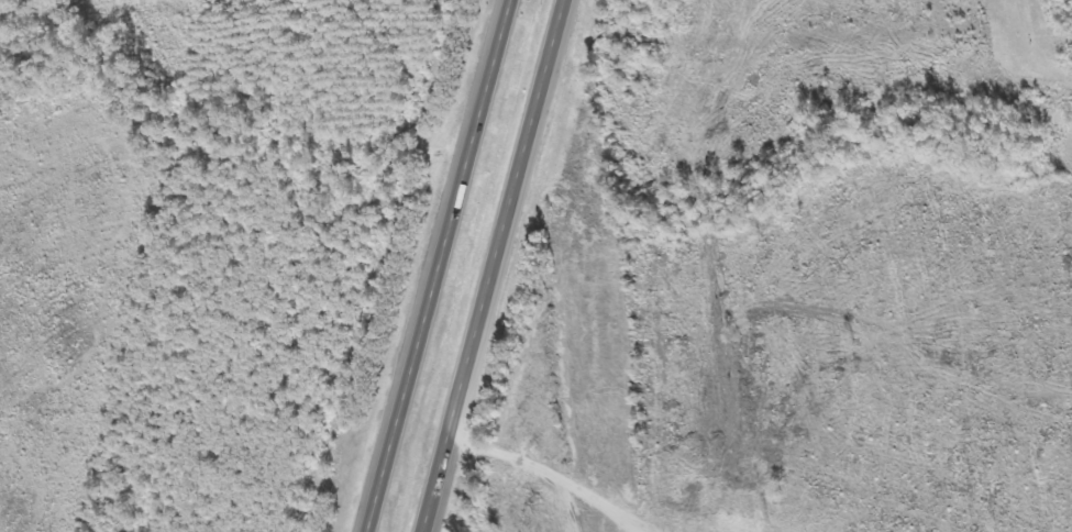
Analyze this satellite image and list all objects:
road: (444, 266)
road: (496, 266)

